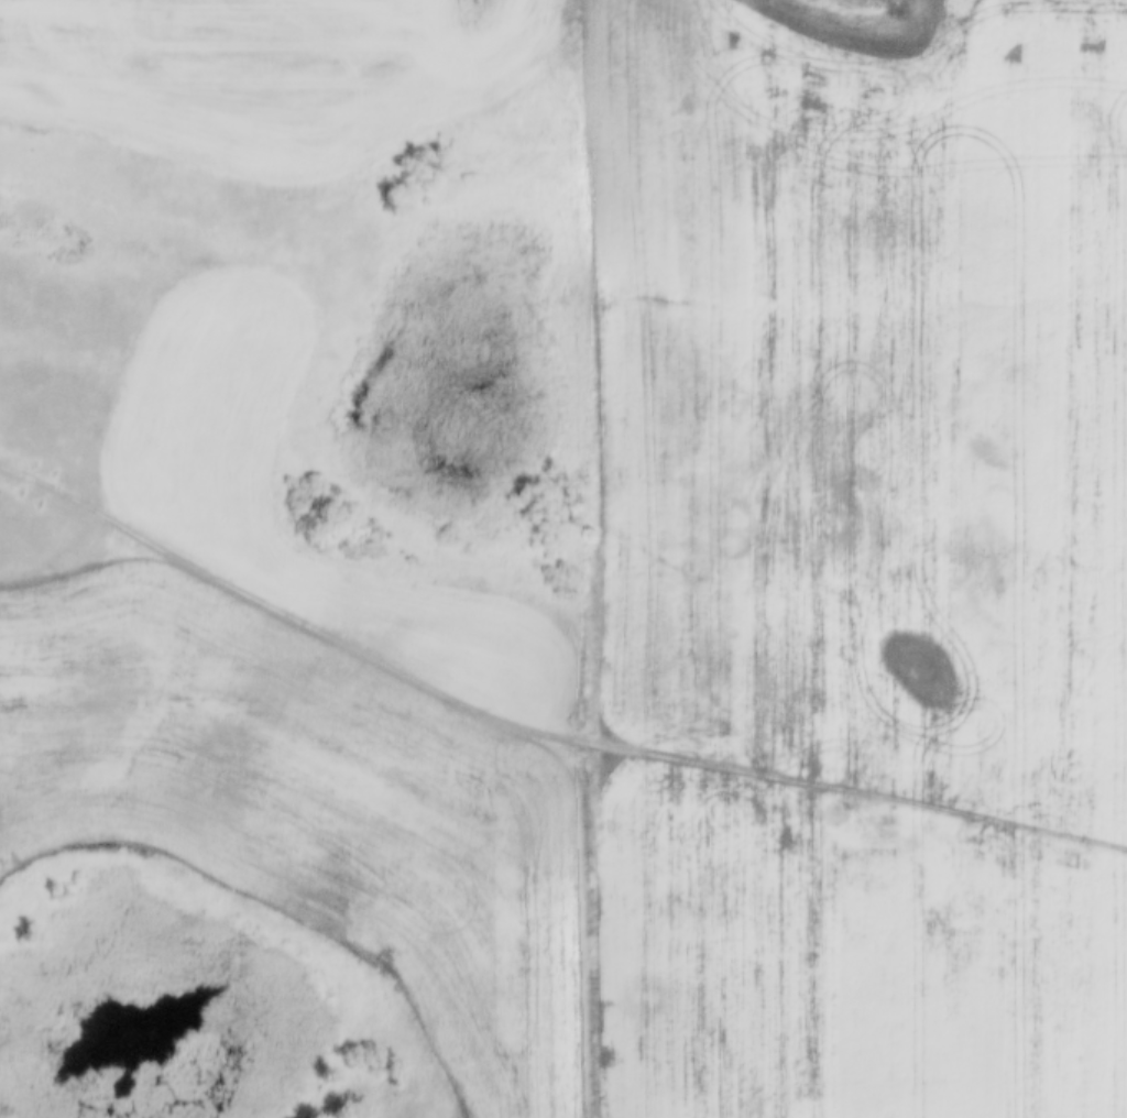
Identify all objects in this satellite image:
road: (687, 720)

